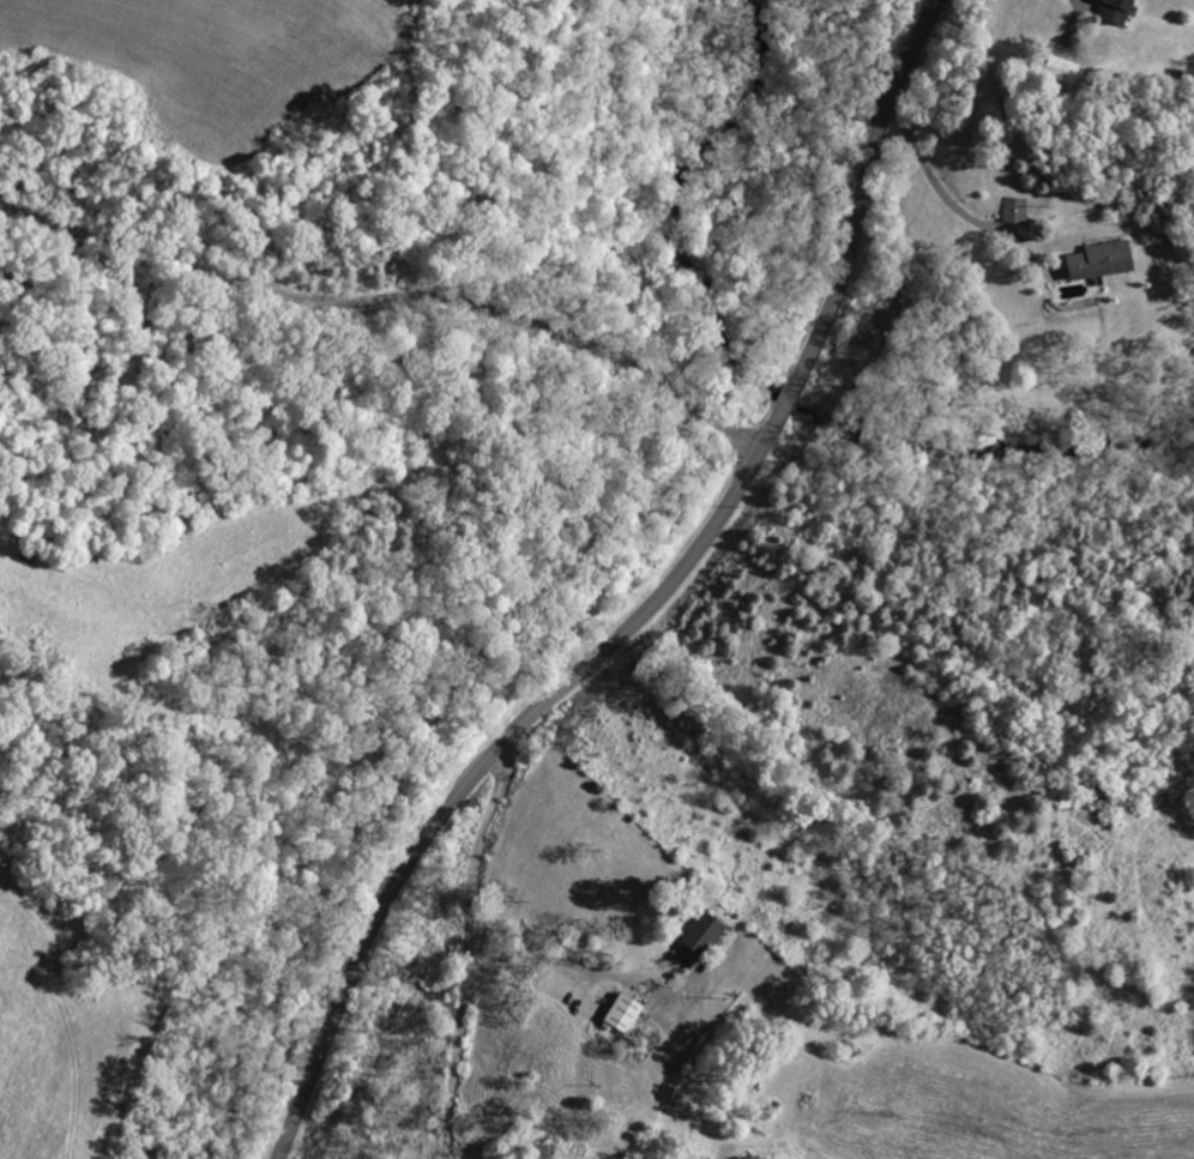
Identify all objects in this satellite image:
building: (1114, 10)
road: (936, 181)
building: (1015, 211)
building: (1098, 260)
road: (394, 290)
road: (652, 608)
building: (700, 935)
road: (471, 948)
road: (561, 950)
building: (623, 1014)

